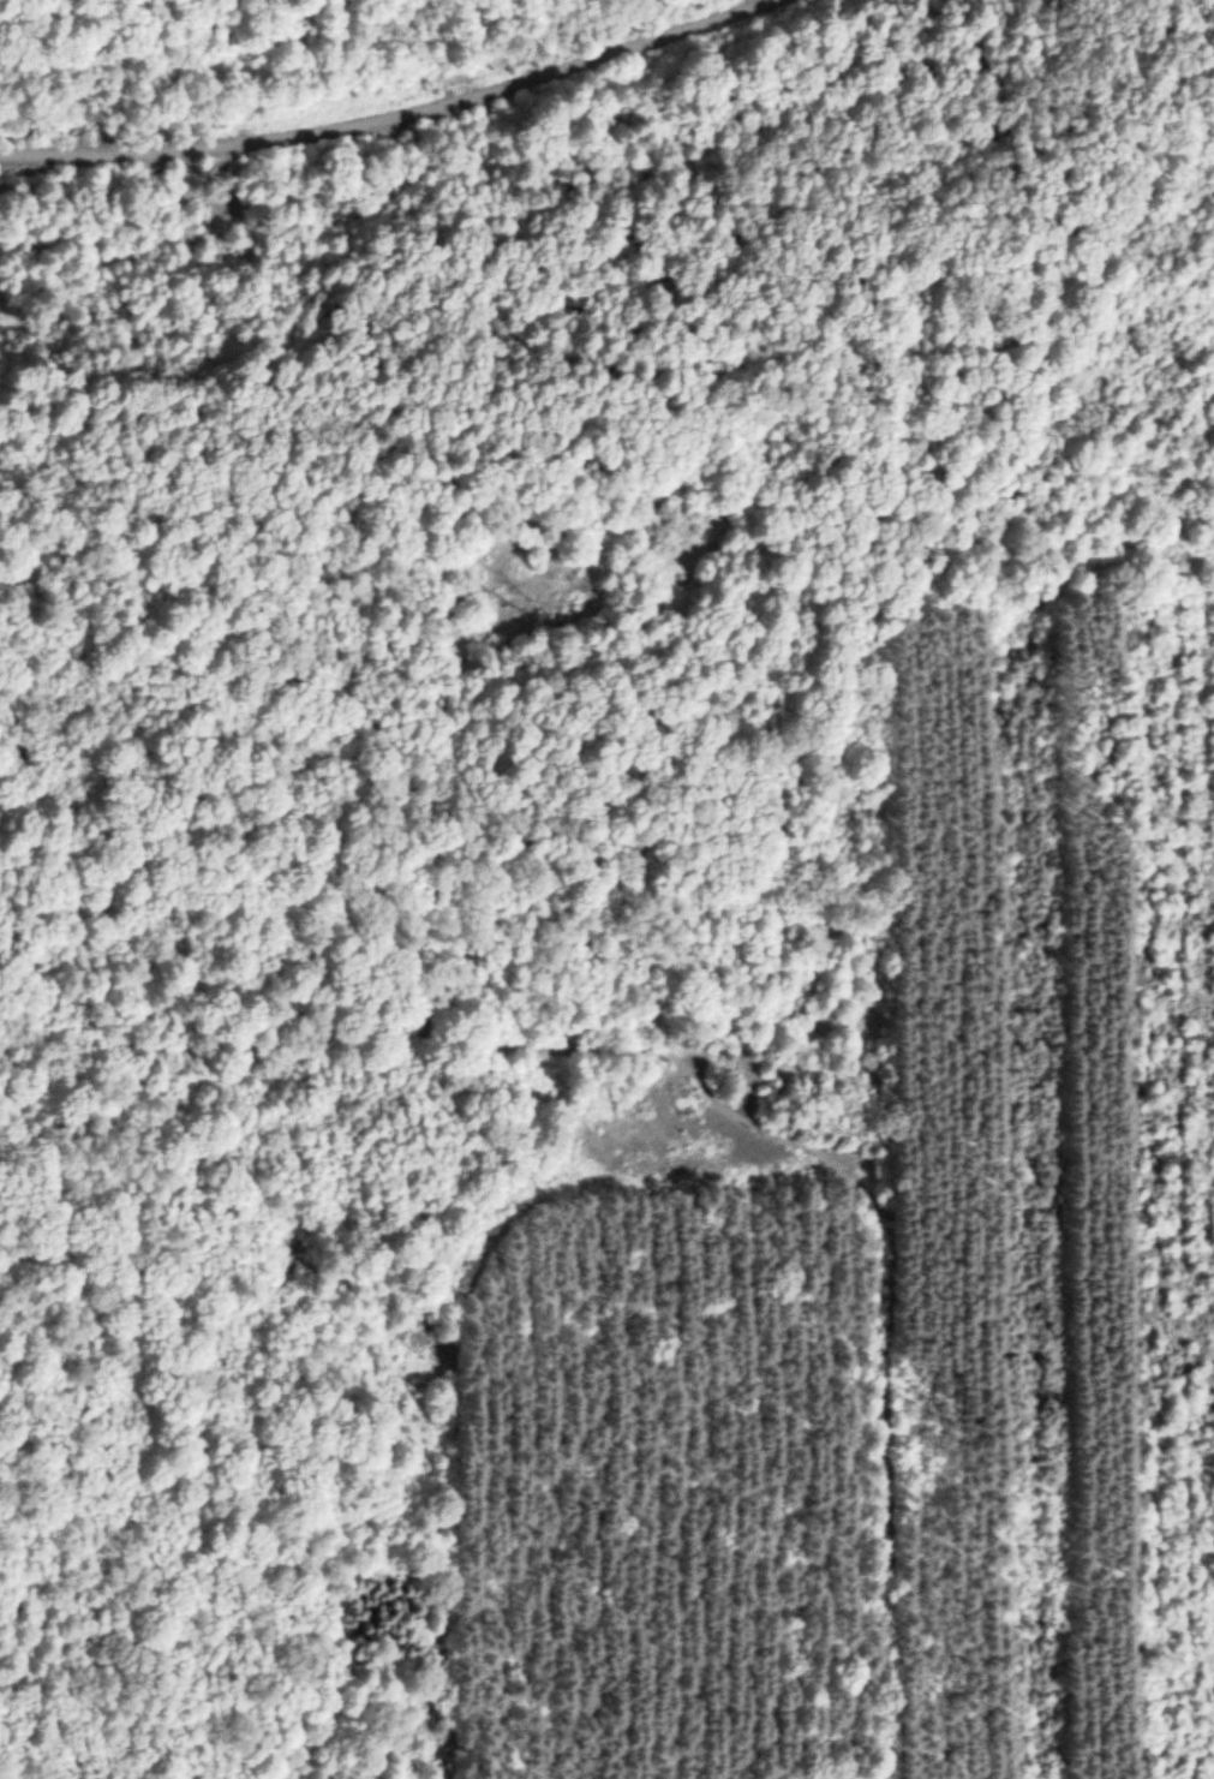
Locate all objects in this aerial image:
road: (366, 96)
road: (467, 1040)
road: (891, 1493)

